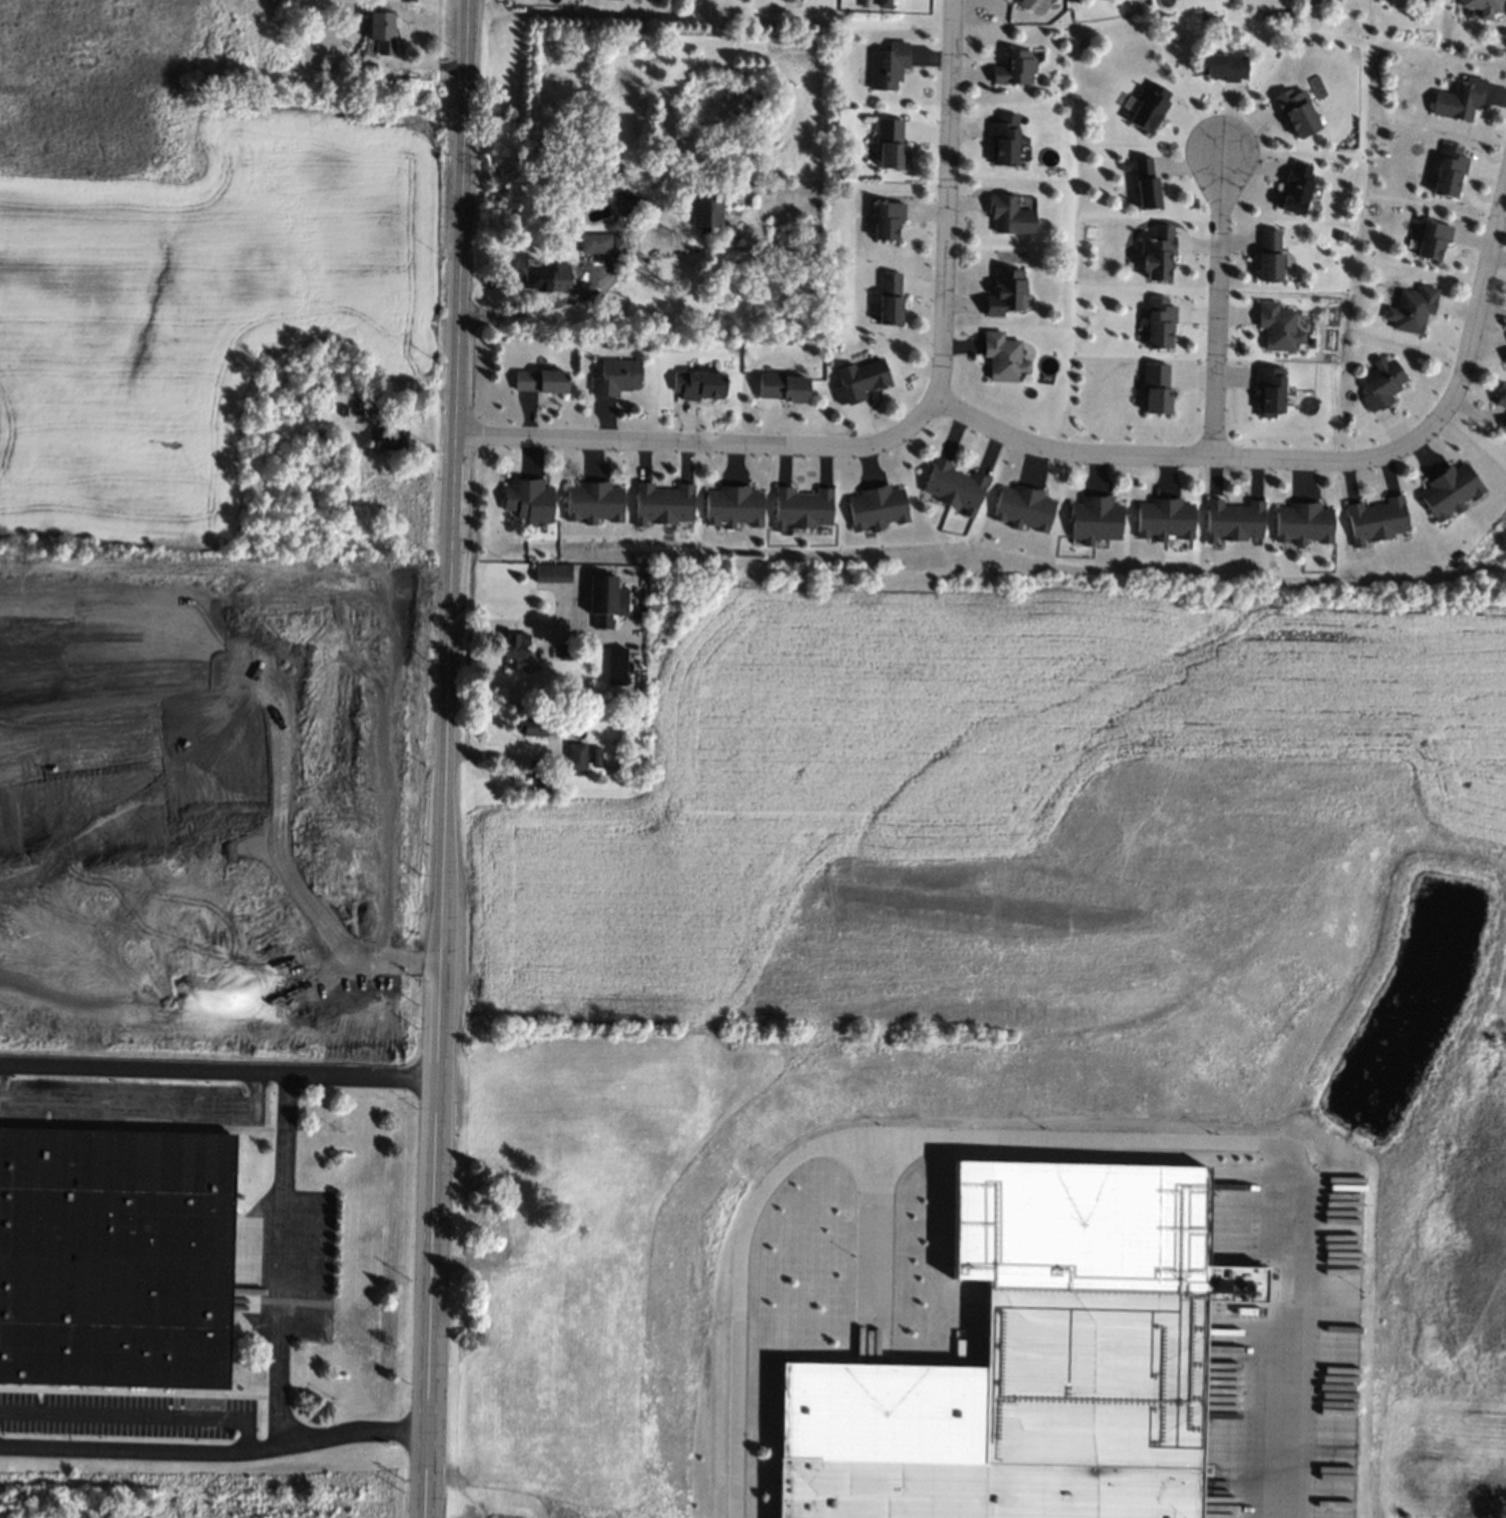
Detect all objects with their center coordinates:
building: (786, 0)
building: (882, 3)
building: (1022, 3)
building: (1481, 7)
building: (381, 32)
building: (887, 66)
building: (1222, 66)
building: (371, 67)
building: (1013, 68)
building: (1458, 99)
building: (1148, 106)
building: (1295, 112)
building: (1386, 135)
building: (1001, 139)
building: (888, 143)
building: (1448, 171)
building: (1145, 183)
building: (1294, 187)
building: (629, 197)
road: (945, 200)
building: (703, 209)
building: (1008, 215)
building: (887, 219)
building: (1431, 239)
building: (605, 242)
building: (1156, 253)
building: (1268, 256)
building: (752, 260)
building: (545, 278)
building: (1003, 292)
building: (889, 298)
crop: (213, 305)
road: (1218, 306)
building: (1411, 310)
road: (521, 313)
road: (1477, 314)
building: (1158, 322)
building: (1276, 326)
building: (1002, 357)
building: (1505, 365)
building: (614, 376)
building: (332, 379)
building: (539, 380)
building: (857, 380)
building: (1380, 384)
building: (698, 385)
building: (783, 385)
building: (1268, 388)
building: (1155, 389)
road: (402, 395)
building: (1501, 400)
building: (277, 409)
building: (358, 413)
building: (1503, 425)
building: (318, 438)
building: (389, 439)
road: (705, 441)
road: (1171, 454)
building: (953, 487)
building: (1449, 490)
building: (528, 499)
building: (594, 502)
building: (663, 503)
building: (733, 506)
building: (876, 507)
building: (801, 508)
building: (1023, 508)
building: (1164, 518)
building: (1094, 519)
building: (1375, 520)
building: (1232, 521)
building: (1302, 523)
building: (552, 572)
building: (604, 600)
road: (536, 627)
building: (514, 650)
building: (566, 651)
building: (615, 666)
building: (524, 709)
building: (533, 726)
building: (576, 756)
road: (500, 757)
building: (596, 757)
road: (445, 758)
crop: (991, 815)
crop: (1502, 984)
road: (220, 1076)
parking lot: (131, 1102)
road: (147, 1113)
road: (1034, 1141)
road: (878, 1251)
building: (115, 1257)
road: (281, 1262)
building: (1032, 1361)
road: (143, 1408)
parking lot: (129, 1417)
road: (216, 1452)

